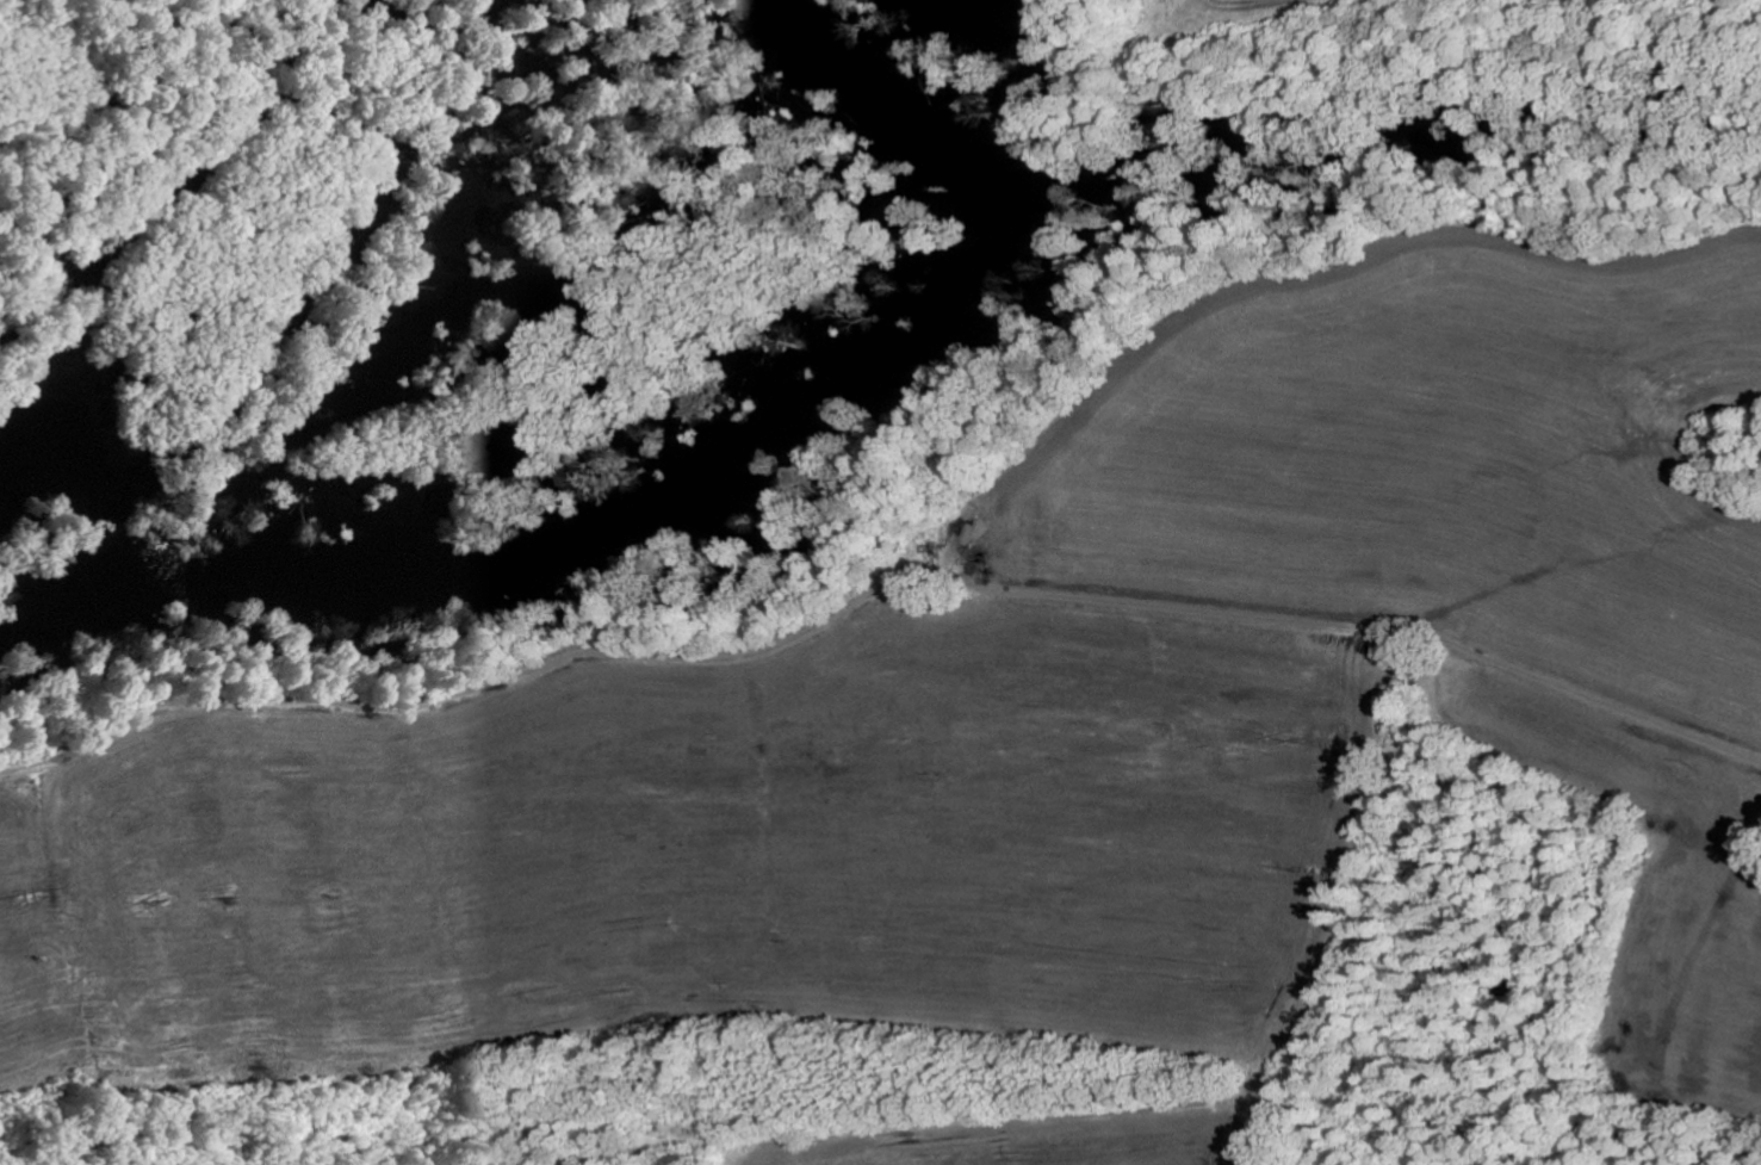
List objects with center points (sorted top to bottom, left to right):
river: (713, 496)

